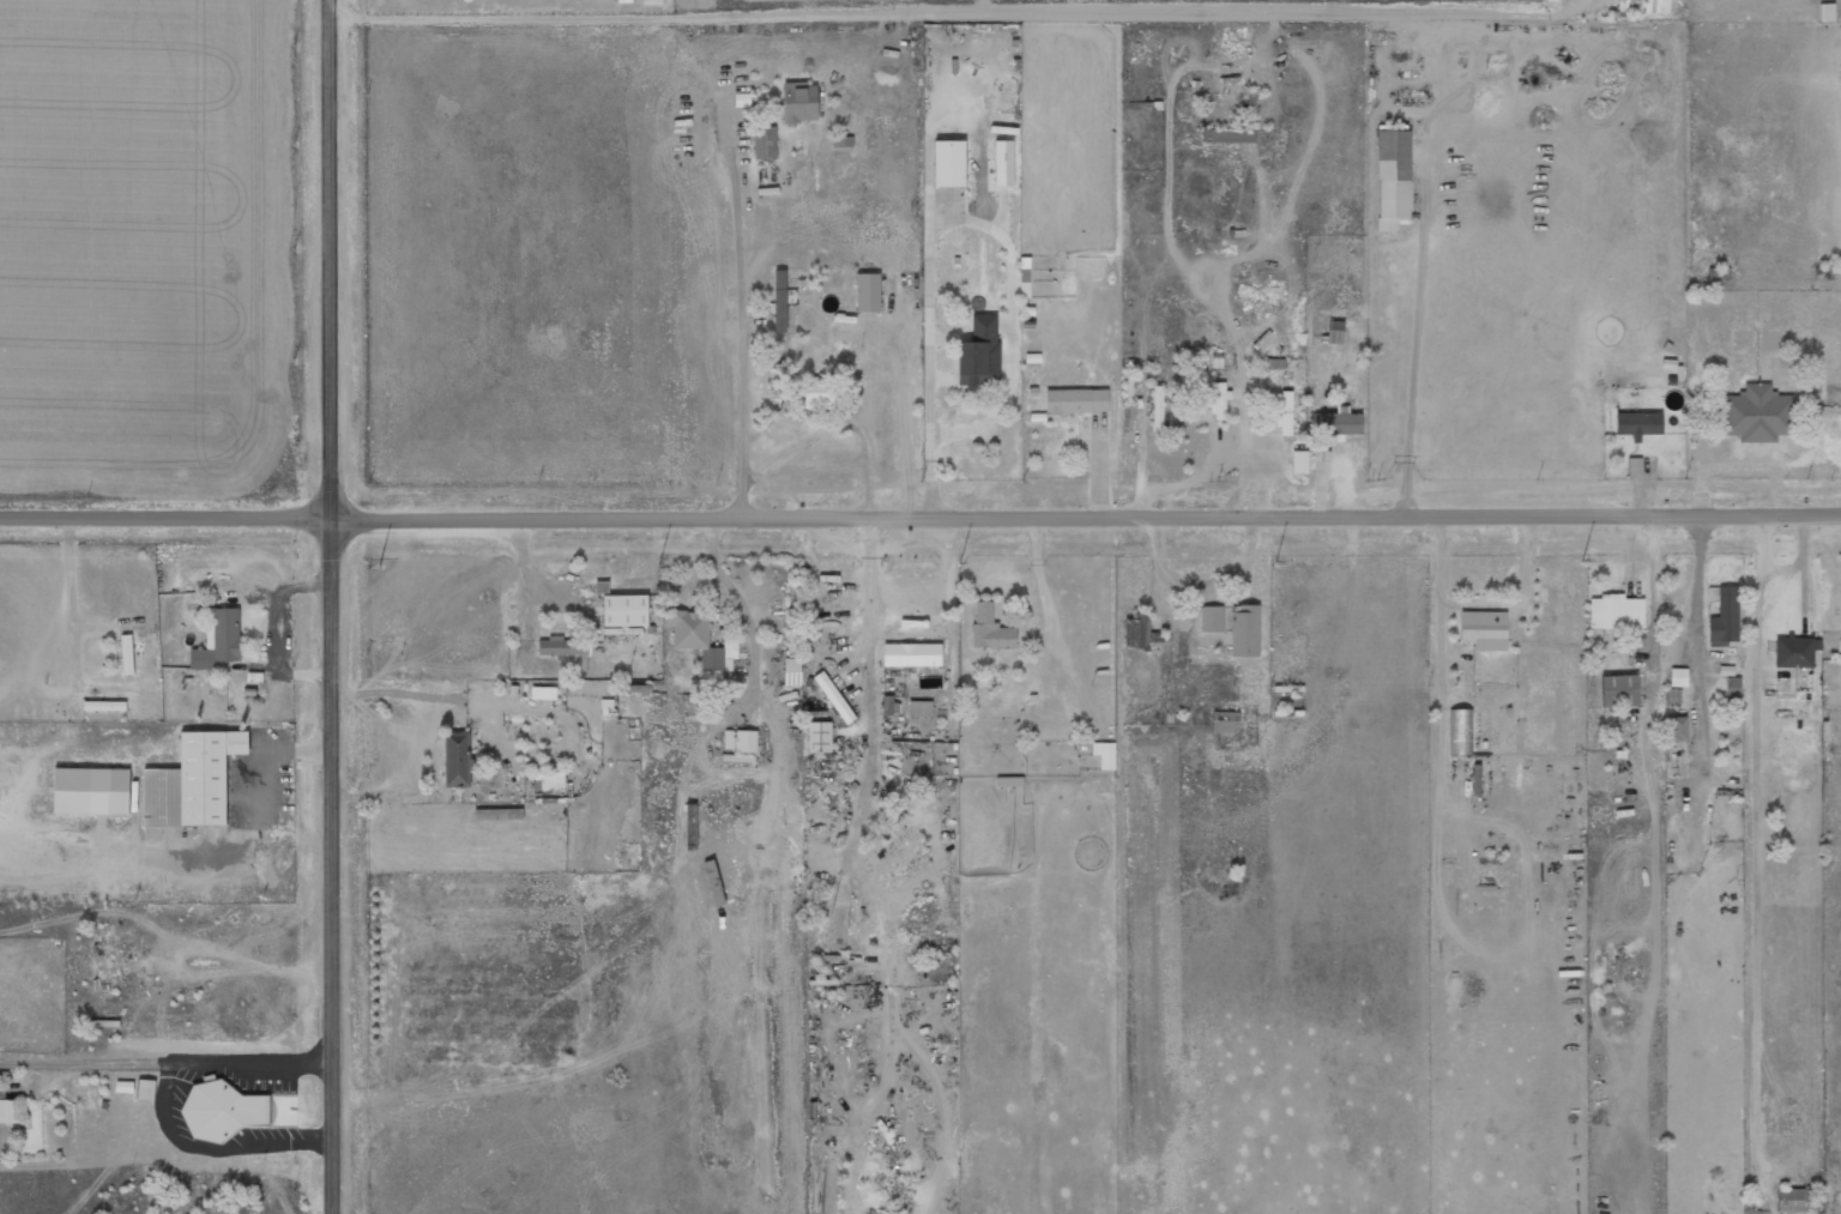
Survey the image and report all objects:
building: (651, 1)
building: (1632, 6)
building: (799, 102)
building: (1229, 135)
building: (765, 143)
building: (948, 163)
building: (1393, 174)
building: (779, 301)
building: (1334, 332)
building: (979, 352)
building: (817, 392)
building: (1157, 399)
building: (1219, 399)
building: (1075, 400)
building: (1285, 413)
building: (1756, 413)
building: (1336, 422)
building: (1637, 424)
building: (977, 427)
building: (1299, 461)
building: (1635, 465)
road: (919, 515)
power tower: (958, 560)
power tower: (665, 561)
power tower: (1273, 561)
power tower: (1587, 561)
power tower: (369, 563)
road: (336, 606)
building: (624, 610)
building: (1616, 611)
building: (1211, 618)
building: (1724, 618)
building: (990, 628)
building: (1484, 629)
building: (622, 630)
building: (1244, 630)
building: (1140, 634)
building: (695, 638)
building: (218, 639)
building: (791, 641)
building: (559, 646)
building: (1793, 652)
building: (127, 654)
building: (911, 654)
building: (792, 671)
building: (1678, 677)
building: (1733, 687)
building: (1619, 690)
building: (543, 693)
building: (833, 697)
building: (103, 706)
building: (919, 708)
building: (1225, 721)
building: (1678, 729)
building: (1460, 731)
building: (819, 737)
building: (746, 741)
building: (1104, 755)
building: (457, 760)
building: (551, 779)
building: (192, 781)
building: (91, 791)
building: (901, 854)
building: (838, 928)
building: (102, 967)
building: (145, 1089)
building: (7, 1110)
building: (225, 1110)
building: (1791, 1200)

